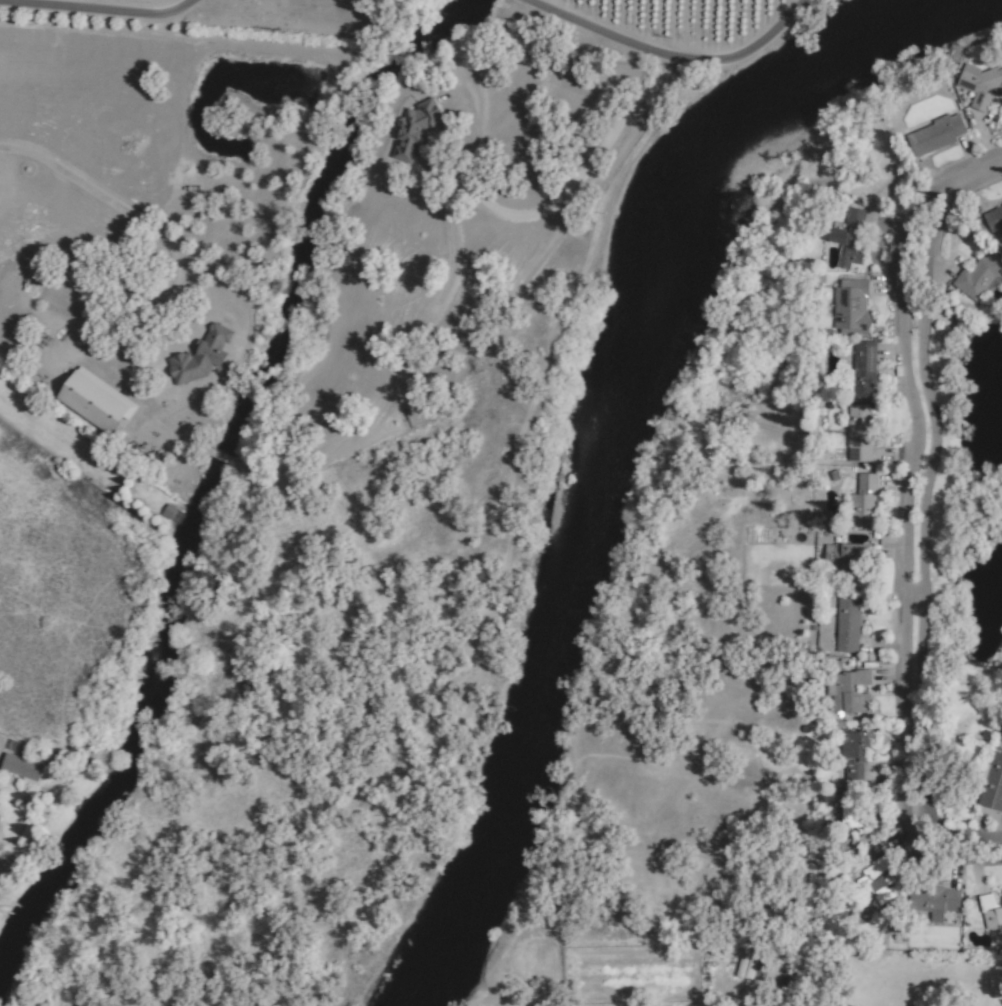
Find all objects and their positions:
river: (966, 4)
road: (89, 7)
road: (677, 52)
building: (979, 84)
building: (413, 128)
building: (934, 135)
road: (111, 203)
building: (994, 216)
building: (854, 217)
crop: (260, 223)
building: (842, 248)
building: (980, 275)
building: (848, 307)
road: (937, 351)
building: (198, 355)
building: (863, 369)
building: (92, 400)
building: (857, 432)
river: (622, 456)
building: (843, 555)
building: (846, 625)
building: (848, 692)
road: (932, 741)
building: (1001, 743)
building: (20, 767)
building: (992, 784)
building: (853, 814)
building: (874, 881)
building: (1001, 893)
building: (933, 901)
building: (989, 912)
road: (495, 996)

